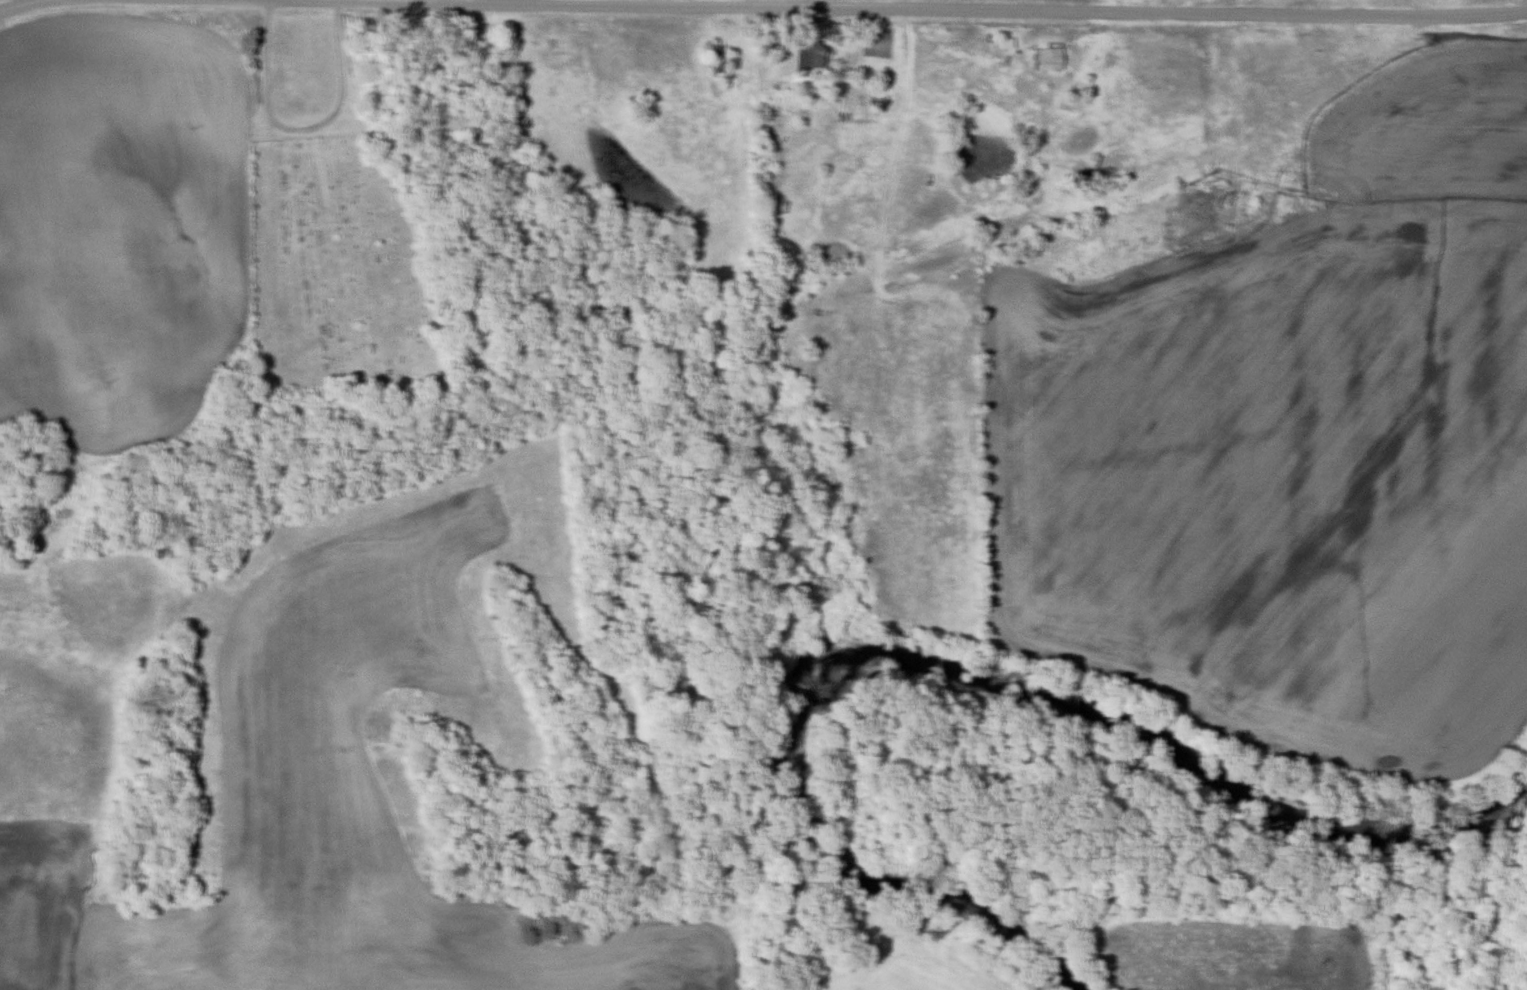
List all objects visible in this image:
road: (762, 7)
building: (833, 33)
building: (997, 45)
building: (808, 57)
building: (1041, 61)
road: (299, 139)
park: (331, 281)

